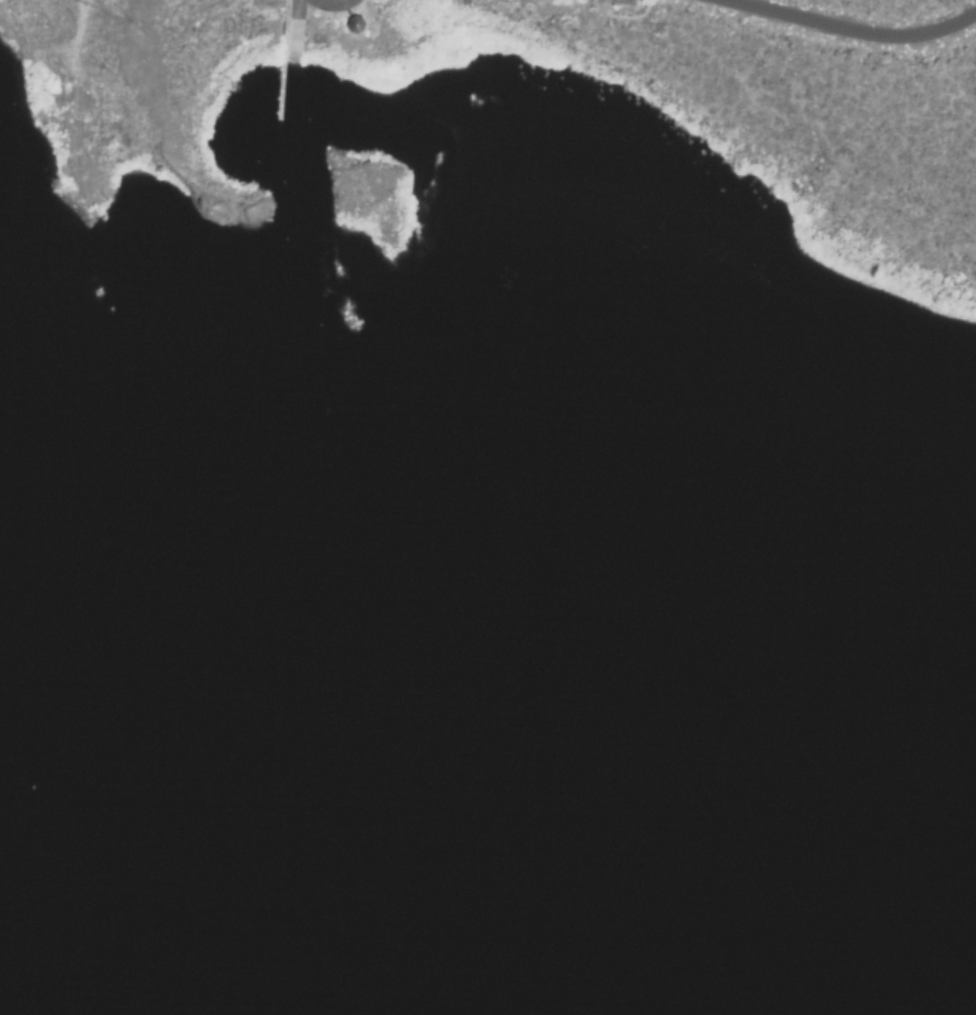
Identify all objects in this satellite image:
road: (330, 2)
road: (860, 29)
road: (293, 32)
pier: (281, 66)

